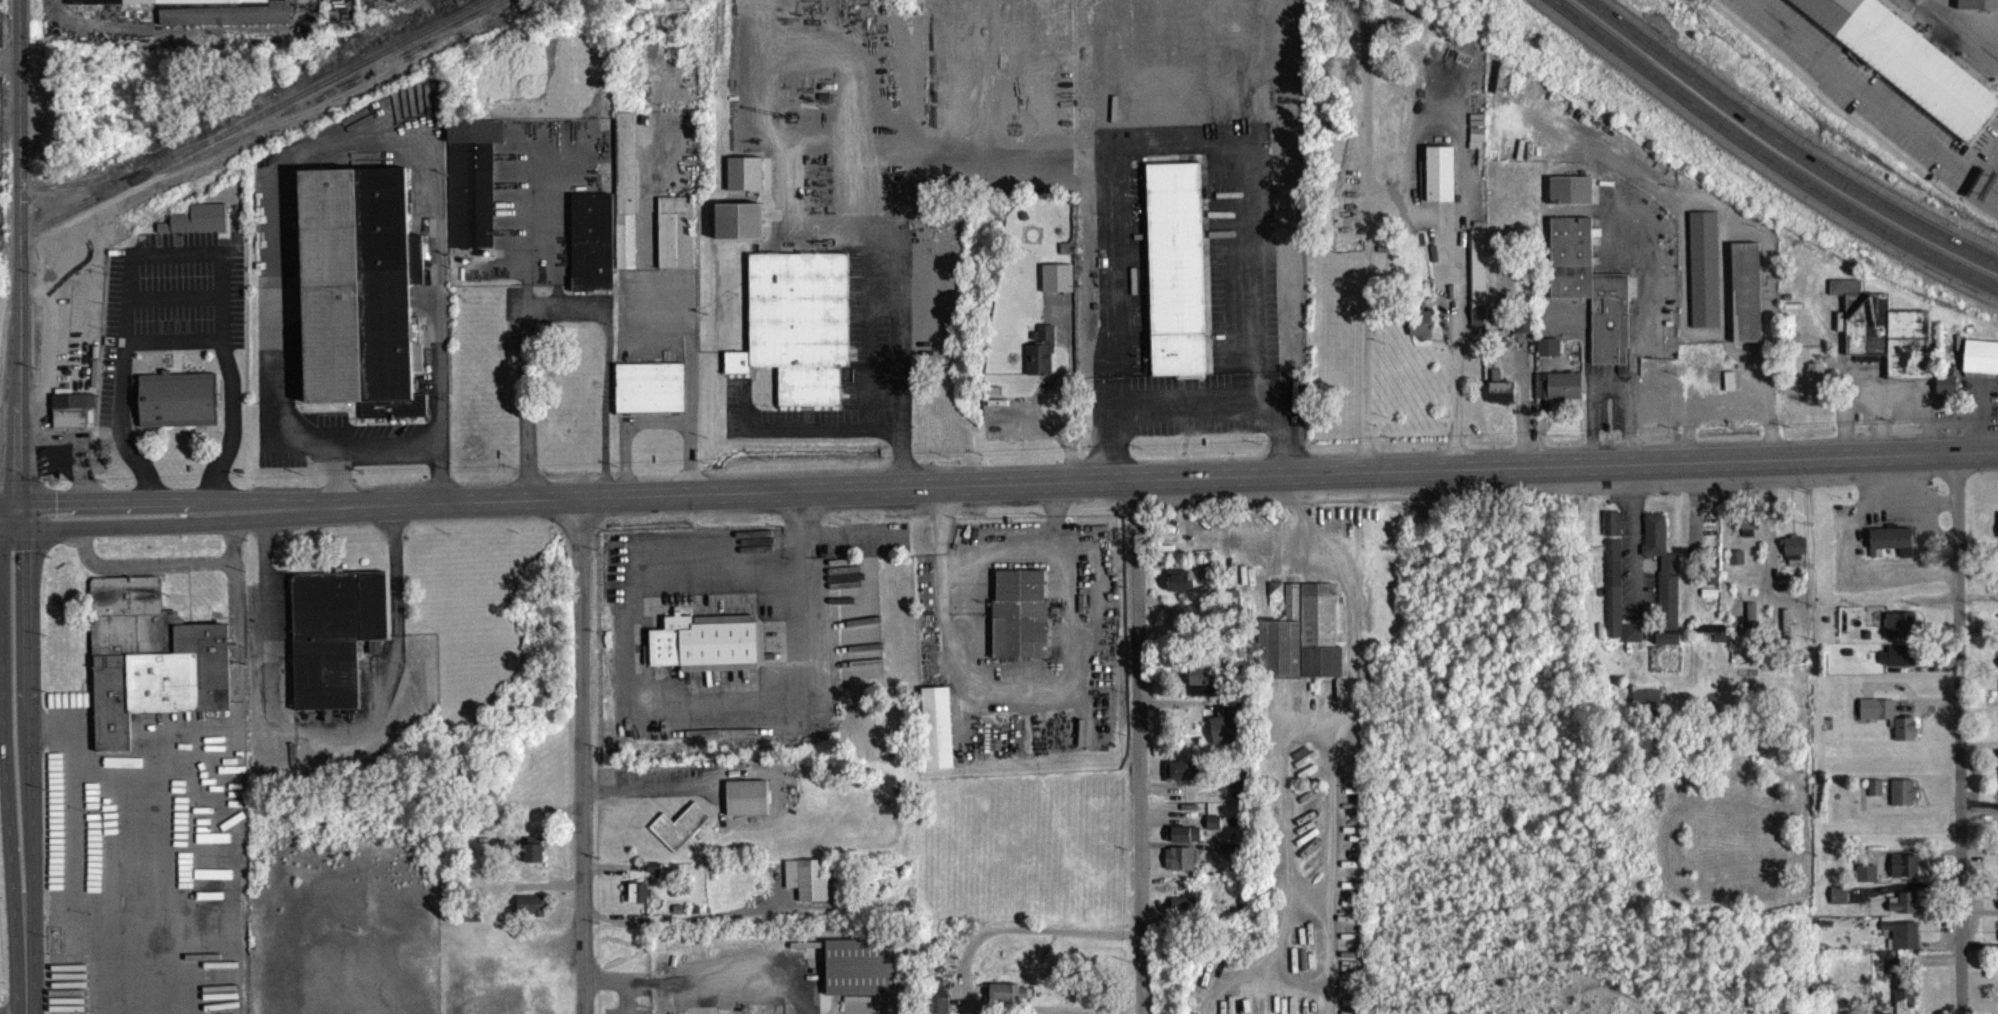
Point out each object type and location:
building: (95, 6)
building: (1979, 8)
building: (216, 14)
road: (1964, 23)
road: (9, 59)
building: (1905, 66)
road: (1871, 97)
railway: (270, 119)
road: (350, 137)
road: (1785, 144)
road: (1765, 158)
railway: (135, 177)
building: (747, 182)
road: (1997, 186)
building: (474, 190)
road: (1997, 195)
railway: (5, 198)
building: (1572, 198)
building: (627, 199)
road: (1575, 208)
road: (1404, 209)
building: (198, 228)
building: (741, 229)
road: (1723, 237)
building: (678, 240)
building: (594, 250)
road: (175, 254)
railway: (1, 255)
building: (1178, 277)
building: (1706, 277)
building: (1480, 285)
building: (1059, 286)
building: (359, 288)
road: (667, 295)
building: (1593, 298)
building: (1748, 300)
road: (567, 309)
building: (1422, 331)
building: (800, 333)
building: (1886, 339)
road: (903, 351)
building: (1550, 355)
building: (1043, 361)
building: (1982, 365)
road: (1609, 386)
building: (1817, 388)
building: (1560, 393)
building: (1948, 395)
building: (652, 396)
building: (1502, 400)
road: (1726, 402)
building: (179, 408)
road: (1197, 411)
road: (1522, 411)
building: (75, 419)
road: (653, 421)
road: (1628, 425)
road: (1590, 427)
road: (1054, 434)
road: (1687, 434)
road: (846, 437)
road: (442, 444)
road: (323, 446)
road: (389, 447)
road: (999, 486)
road: (15, 506)
traffic signals: (15, 514)
building: (1751, 530)
building: (1614, 531)
road: (1637, 545)
building: (1894, 548)
building: (1796, 558)
building: (1738, 565)
road: (163, 566)
road: (990, 566)
road: (267, 575)
building: (1665, 577)
building: (1181, 589)
road: (1350, 596)
building: (1615, 596)
building: (1278, 602)
building: (1021, 623)
building: (1902, 633)
building: (1633, 641)
building: (336, 642)
building: (1305, 644)
building: (1669, 647)
building: (710, 651)
building: (151, 656)
building: (1900, 664)
building: (1204, 689)
road: (380, 699)
building: (1648, 707)
building: (1879, 717)
building: (1229, 734)
road: (1962, 734)
building: (939, 736)
road: (198, 737)
building: (1907, 737)
road: (1139, 748)
road: (580, 755)
road: (648, 790)
building: (1877, 795)
building: (1240, 796)
building: (1905, 800)
building: (750, 806)
building: (1214, 829)
building: (681, 835)
building: (1183, 842)
building: (536, 861)
building: (1181, 867)
road: (1288, 869)
road: (1329, 872)
building: (1906, 874)
road: (66, 878)
building: (1868, 881)
building: (810, 887)
road: (1309, 898)
building: (640, 901)
building: (1841, 903)
building: (1905, 911)
building: (532, 914)
building: (1185, 915)
road: (632, 920)
road: (1021, 939)
building: (1903, 943)
building: (863, 975)
road: (619, 978)
road: (1295, 978)
building: (1906, 992)
building: (1008, 1001)
building: (941, 1004)

